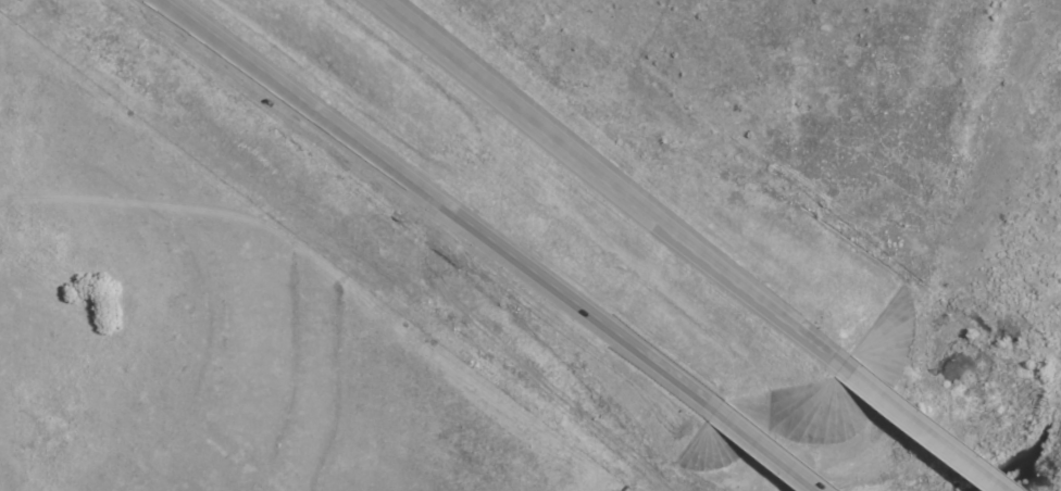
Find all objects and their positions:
road: (606, 178)
road: (436, 203)
road: (927, 424)
road: (771, 449)

